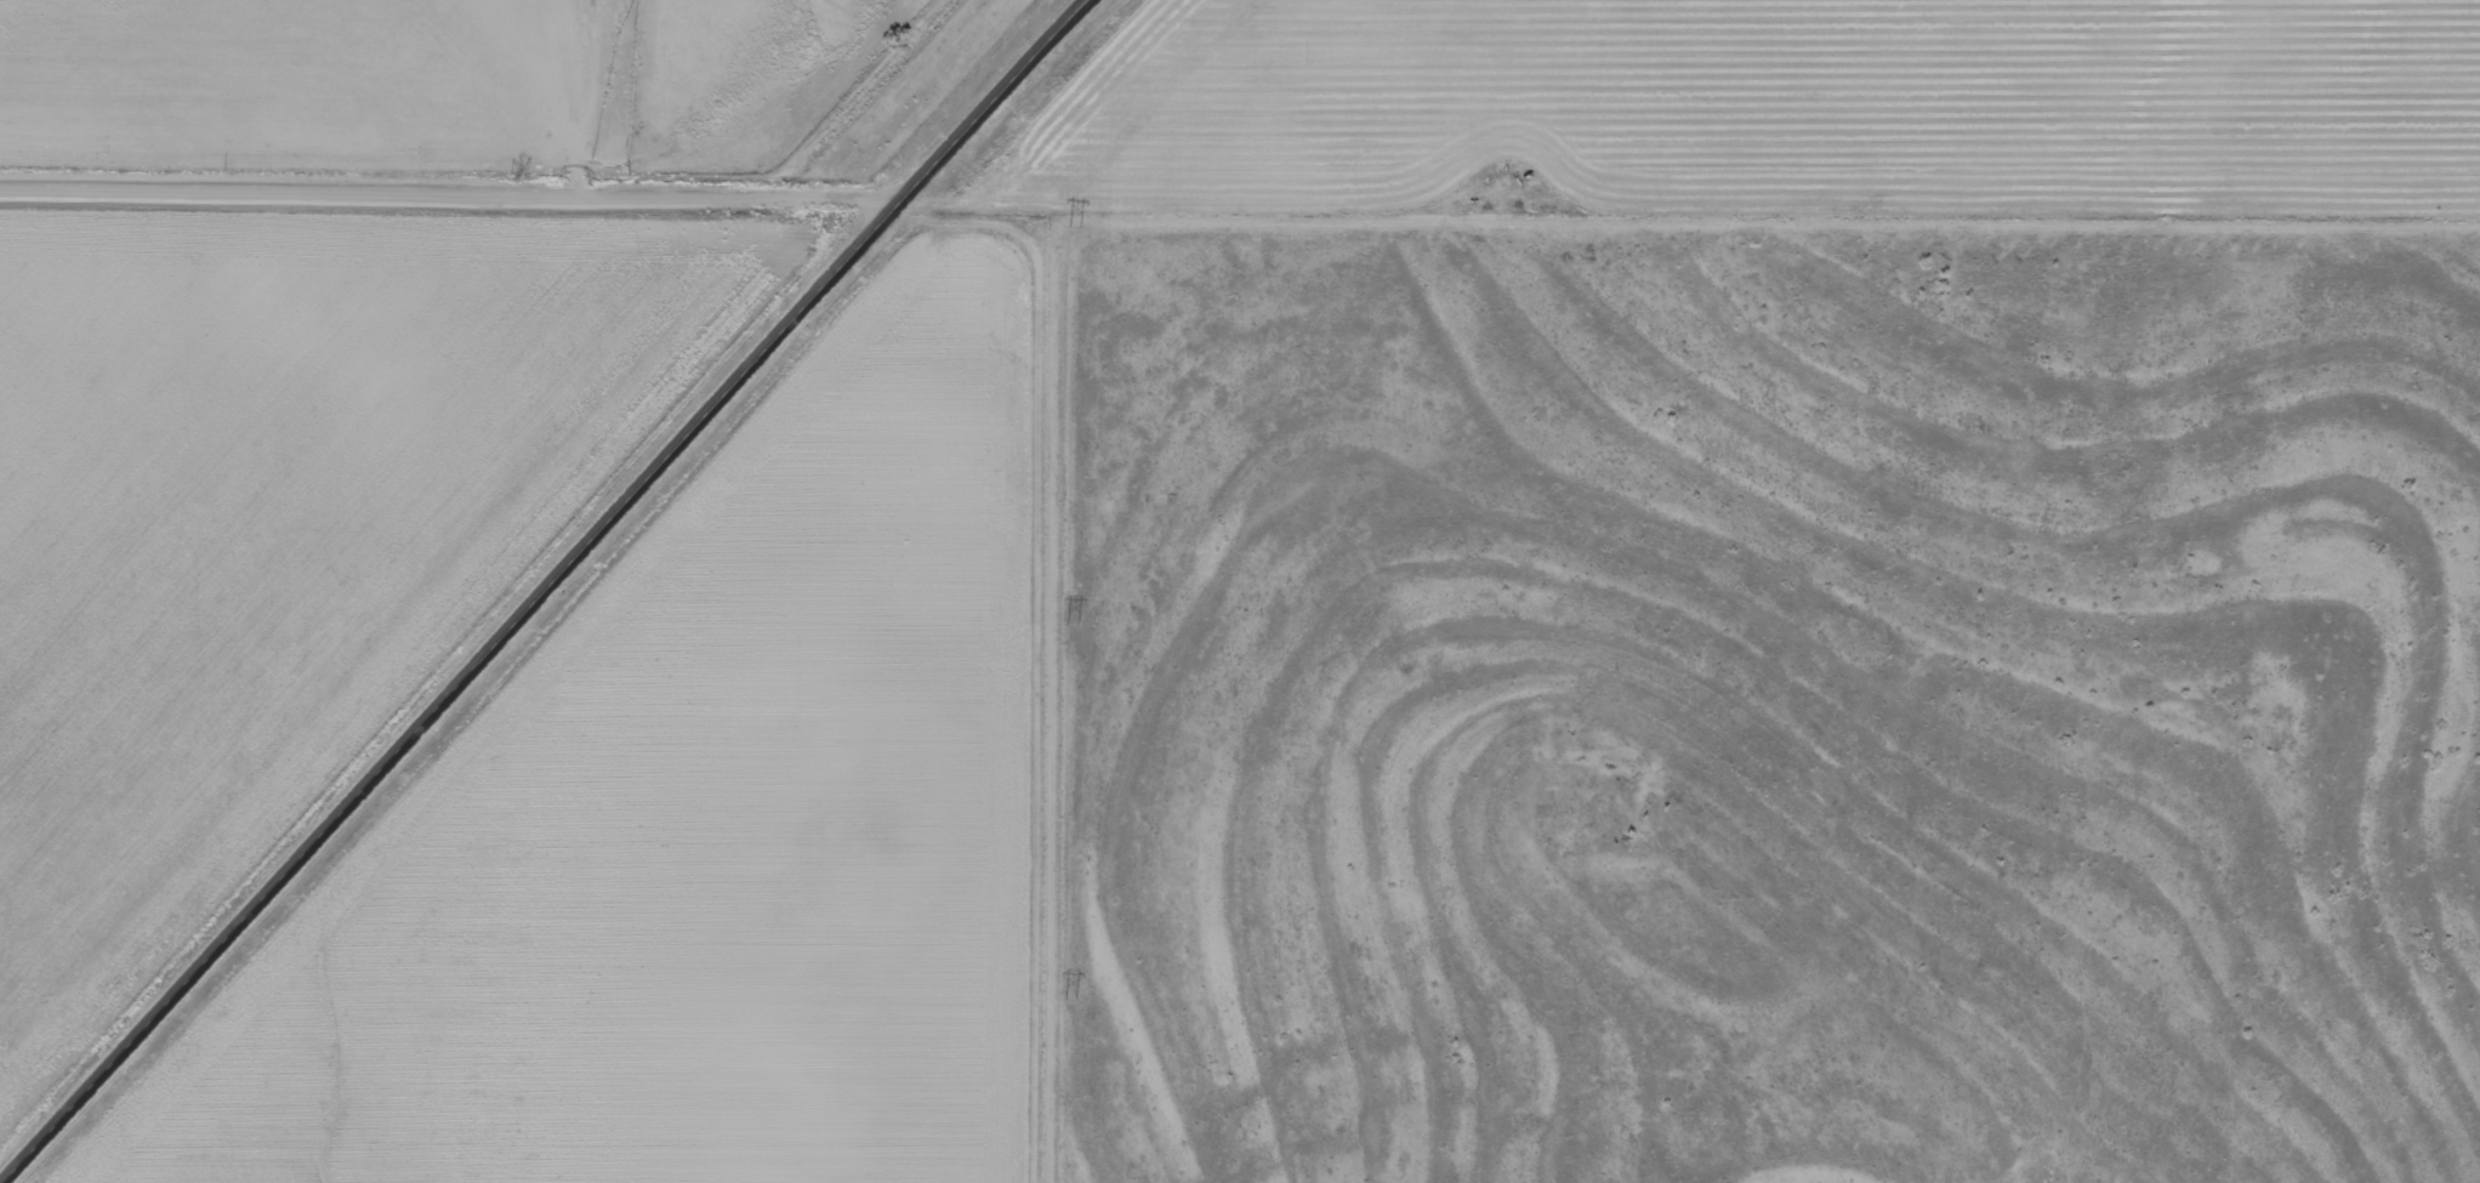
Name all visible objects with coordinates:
road: (449, 190)
power tower: (1074, 226)
railway: (512, 563)
road: (552, 590)
power tower: (1073, 622)
power tower: (1069, 1000)

